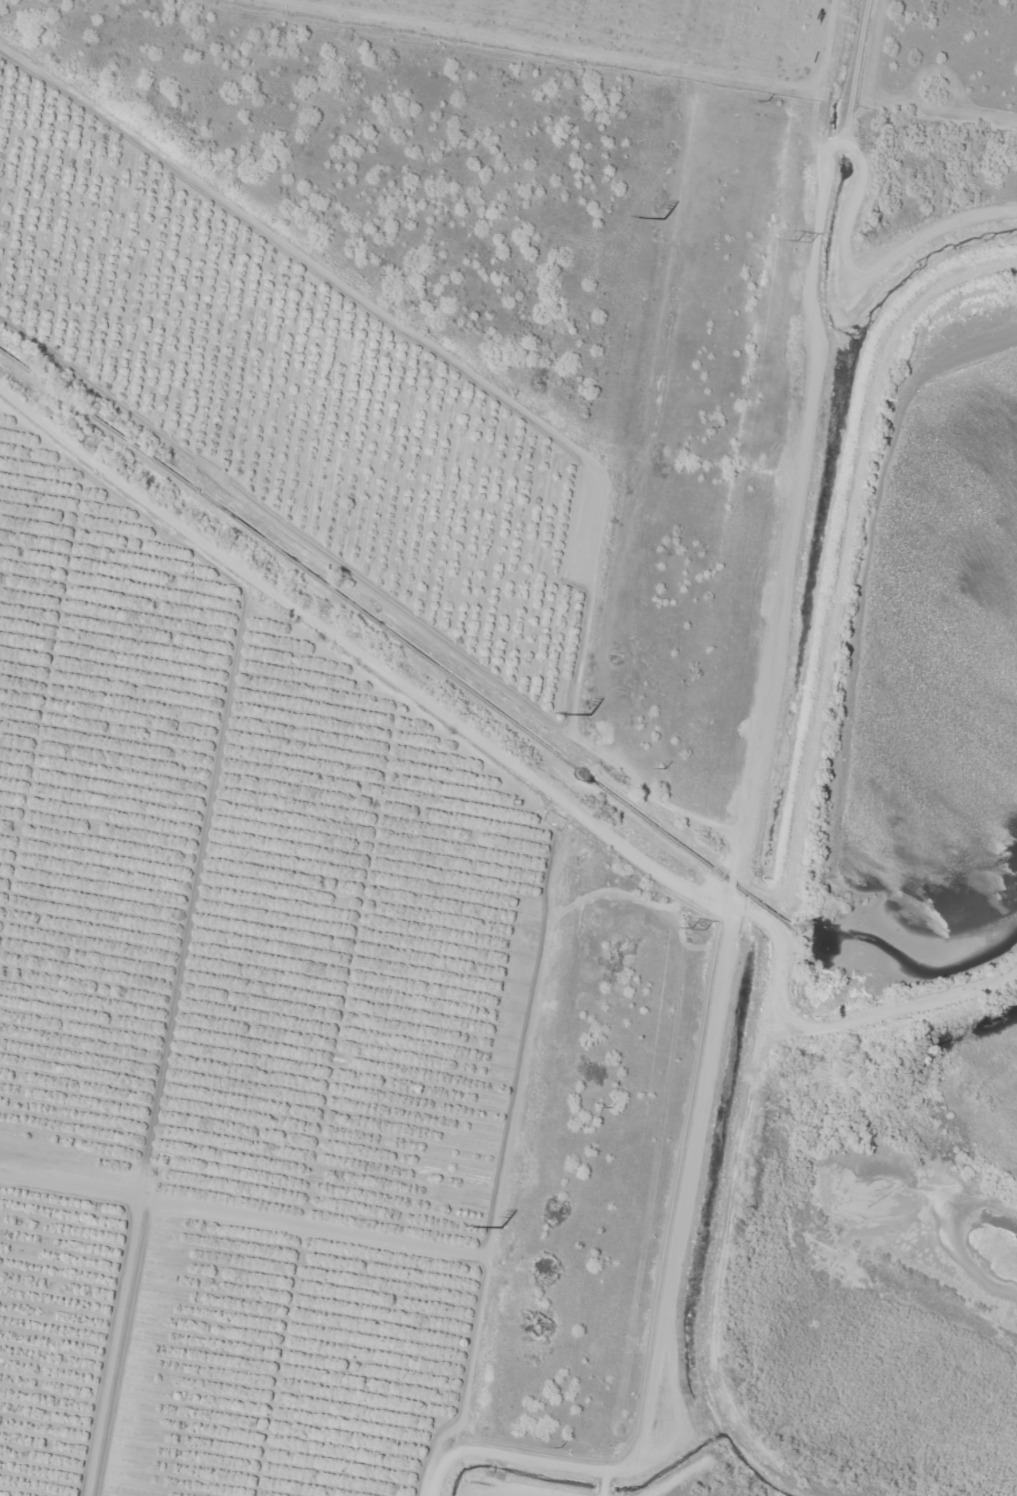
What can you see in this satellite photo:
road: (873, 212)
power tower: (663, 220)
power tower: (801, 240)
road: (359, 664)
power tower: (590, 715)
road: (746, 753)
power tower: (696, 931)
power tower: (502, 1227)

